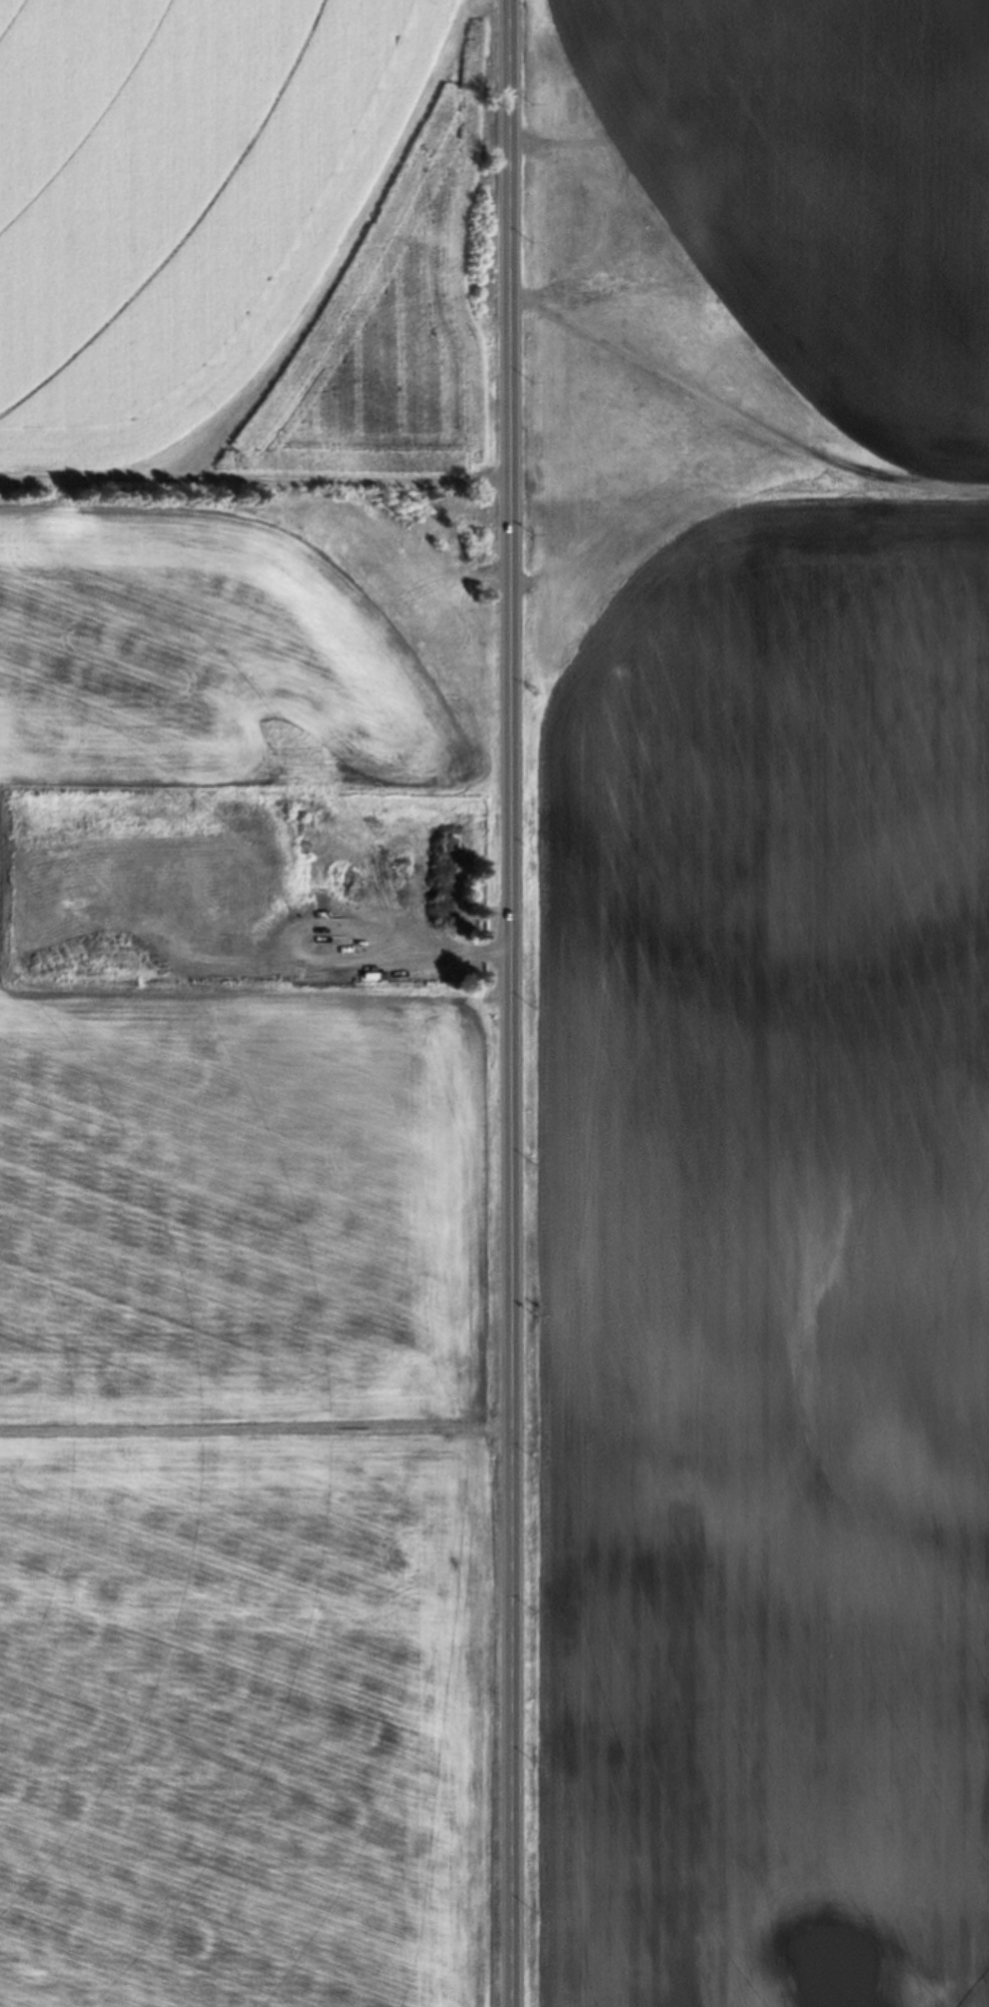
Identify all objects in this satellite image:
road: (513, 1003)

